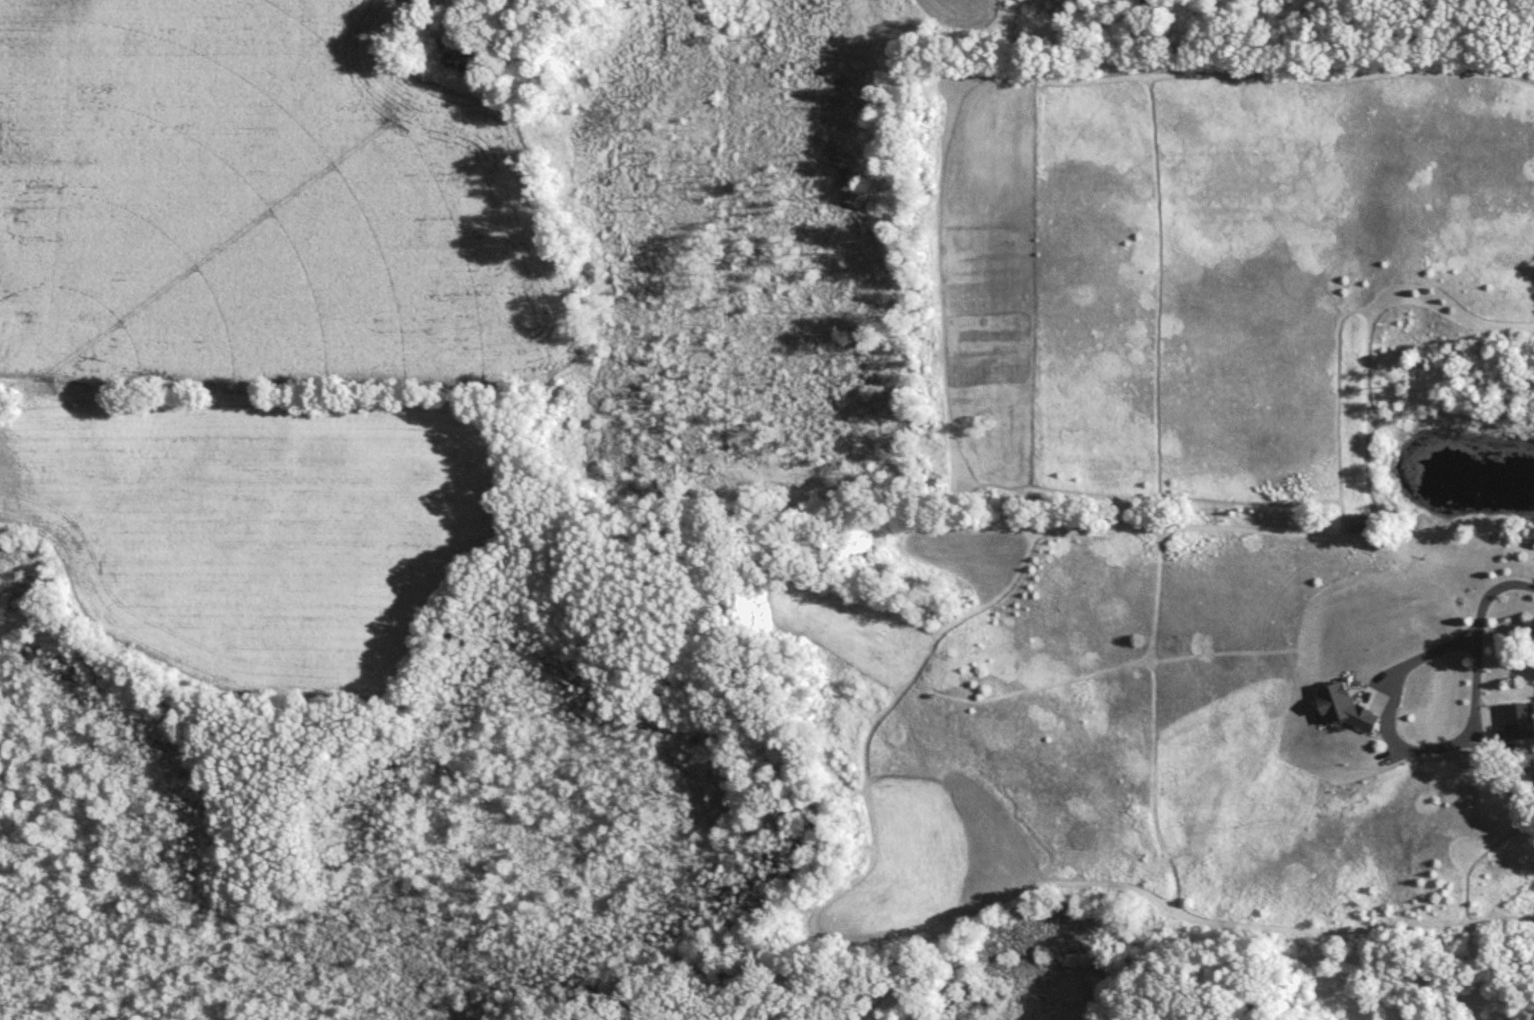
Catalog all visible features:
road: (1487, 589)
building: (1518, 726)
road: (1399, 743)

